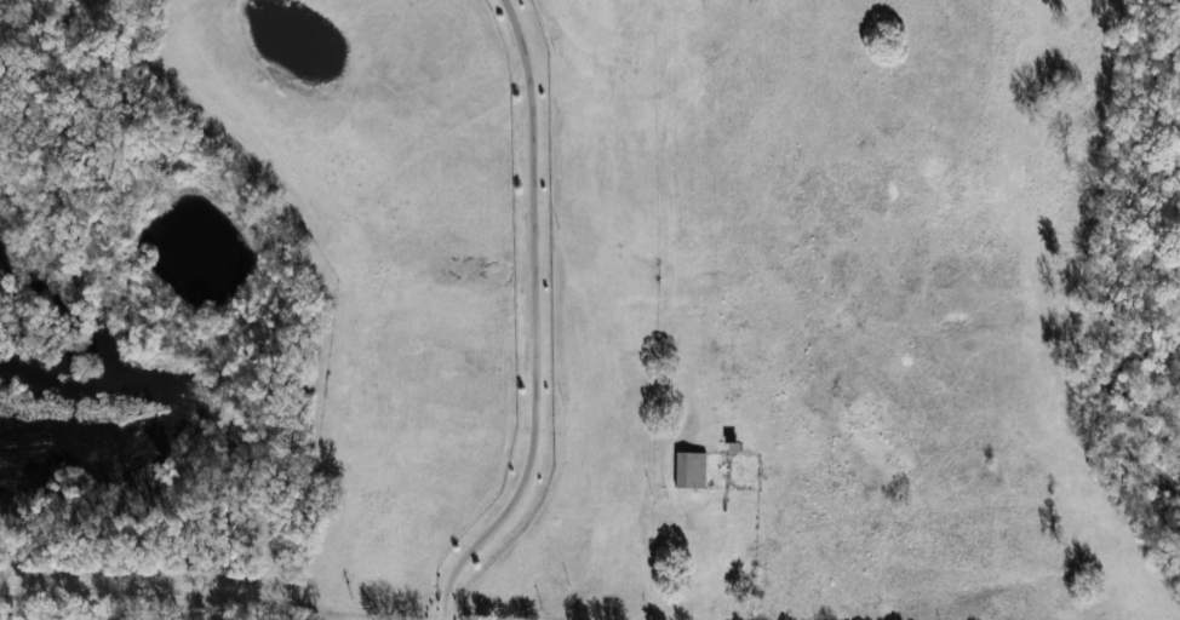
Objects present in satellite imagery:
road: (537, 322)
building: (688, 470)
road: (4, 619)

